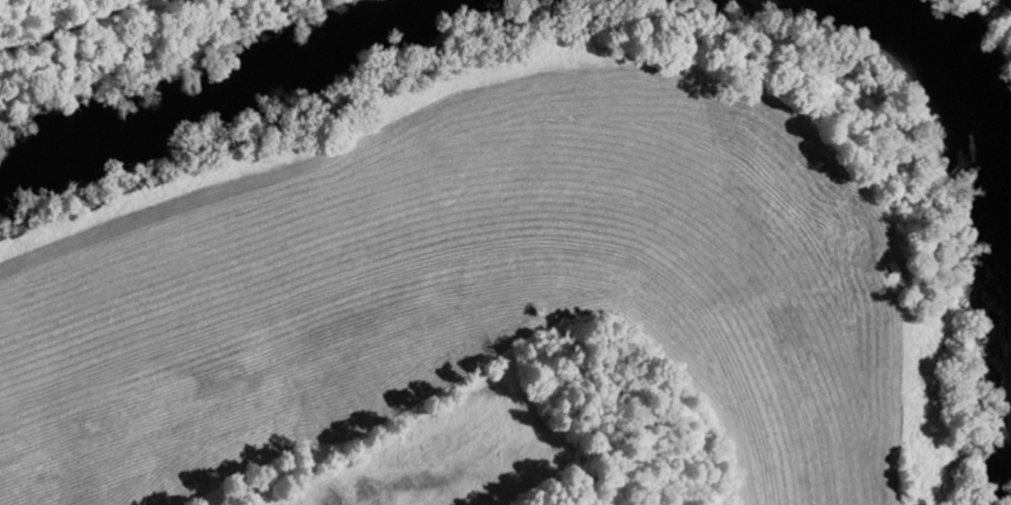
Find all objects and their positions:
river: (222, 87)
river: (968, 89)

